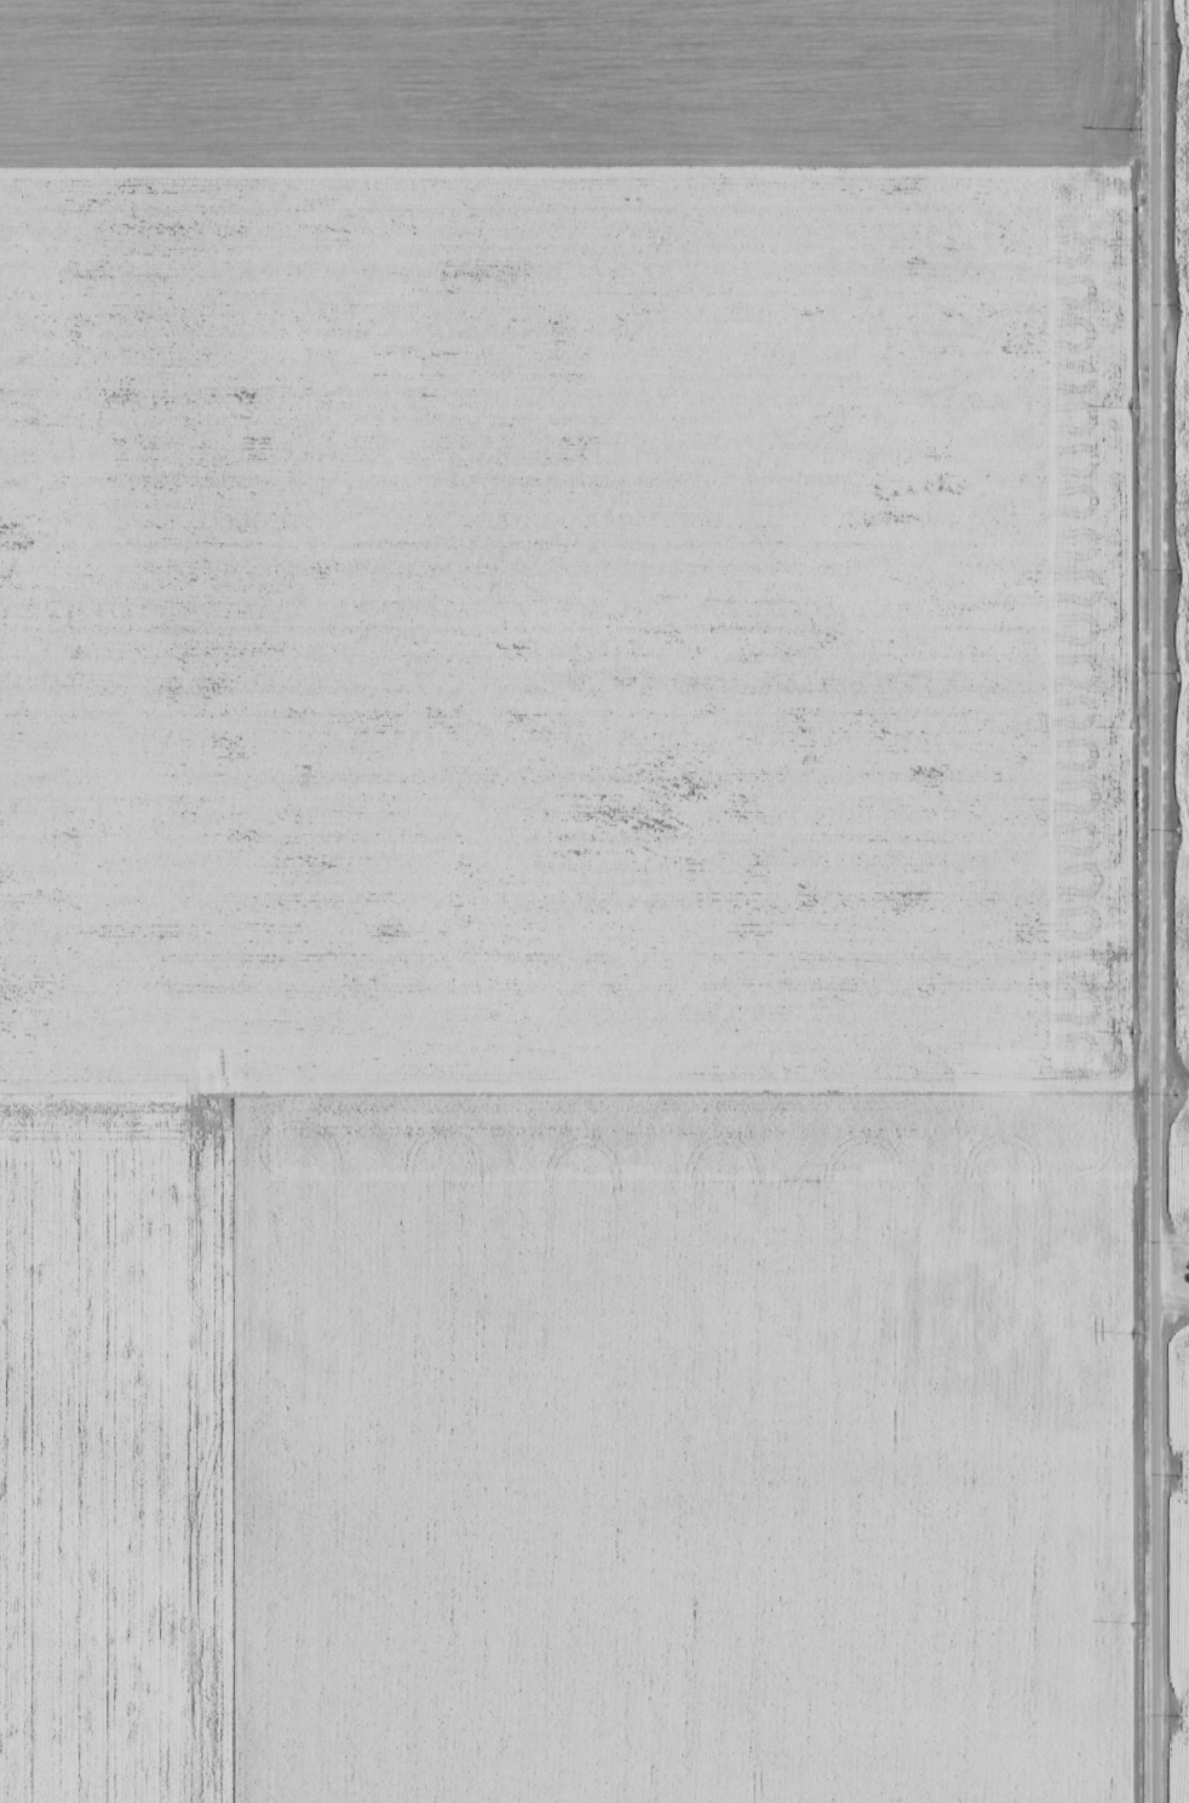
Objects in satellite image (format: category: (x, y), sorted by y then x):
power tower: (1135, 124)
power tower: (1137, 401)
crop: (1179, 611)
power tower: (1136, 724)
road: (1153, 901)
power tower: (1135, 1030)
power tower: (1136, 1327)
crop: (1178, 1564)
power tower: (1136, 1621)

